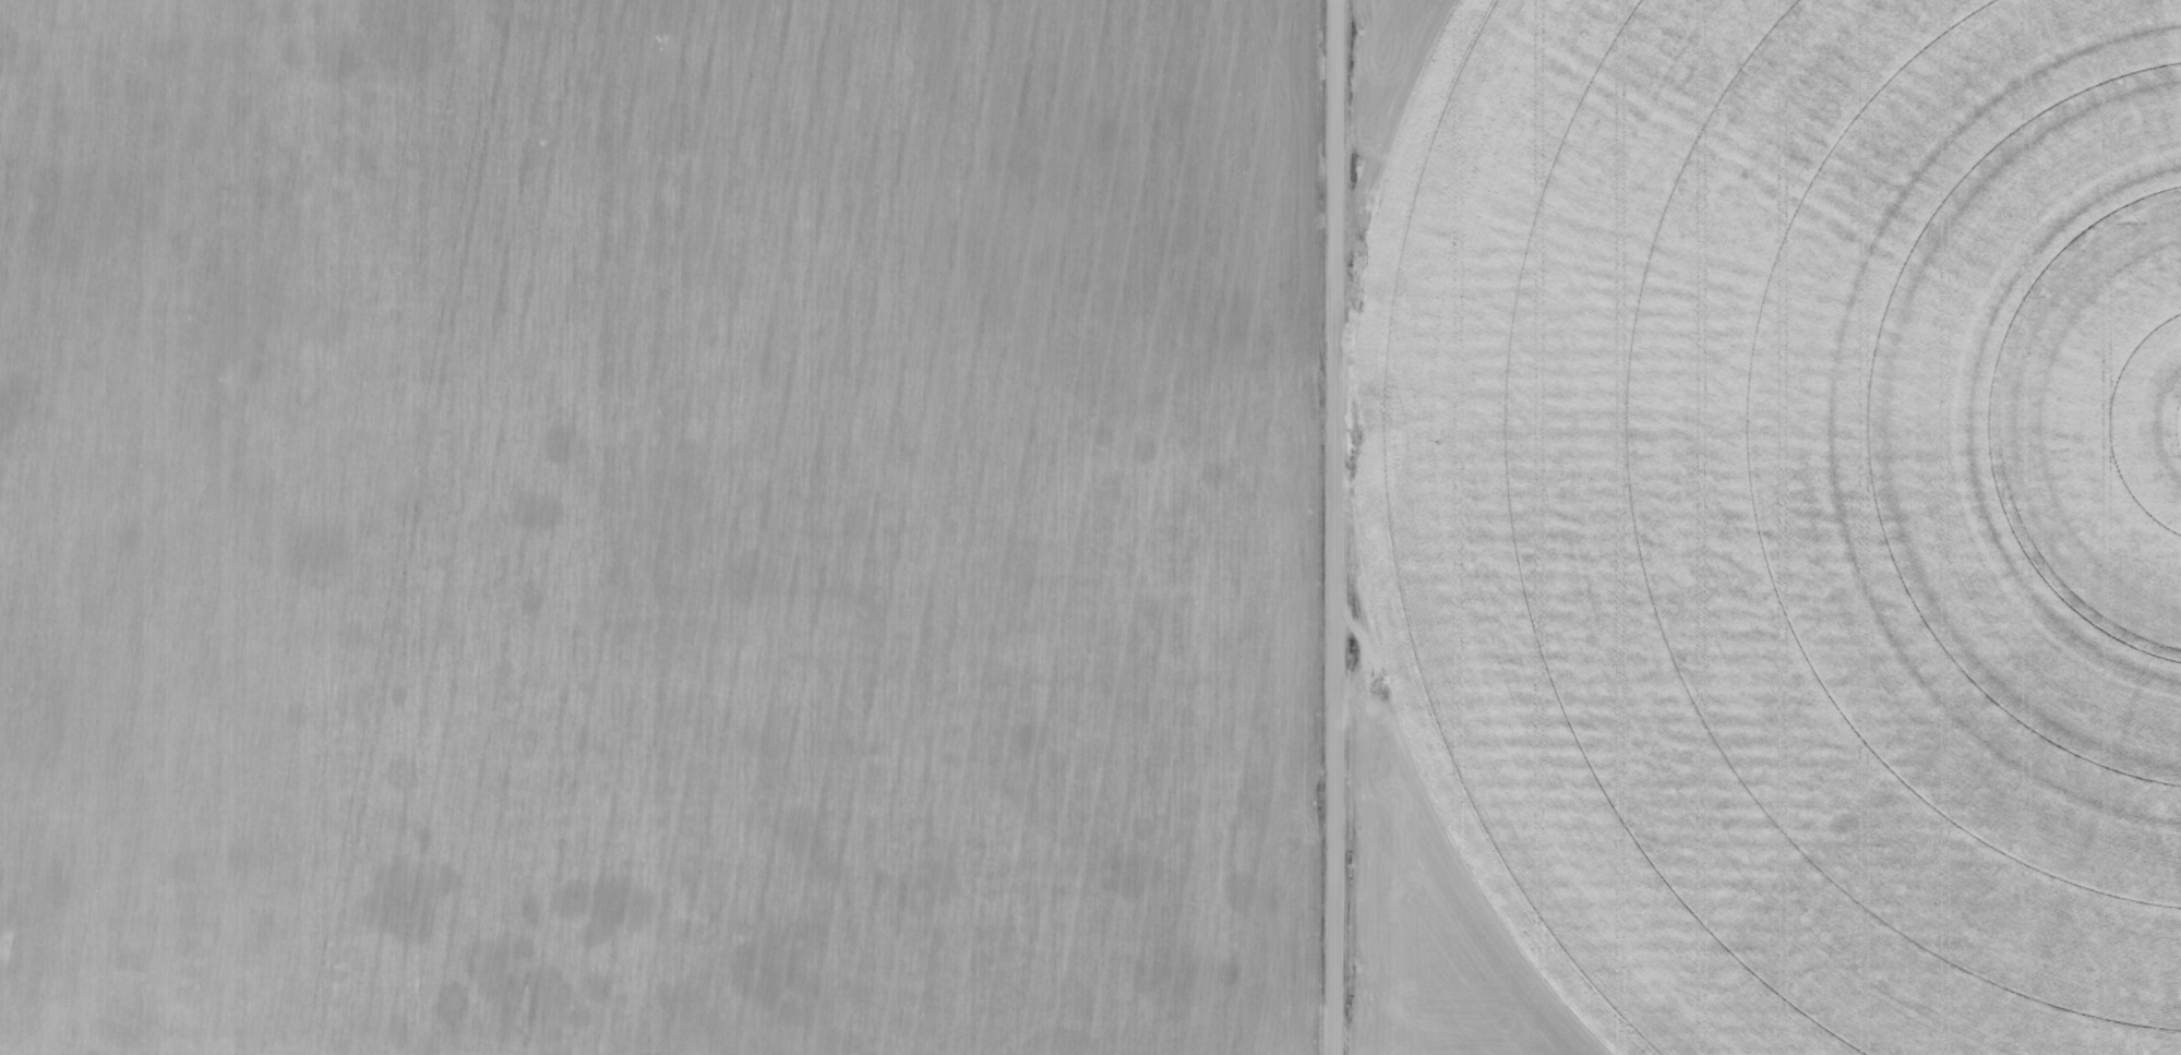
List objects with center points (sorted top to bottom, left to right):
road: (1334, 527)

